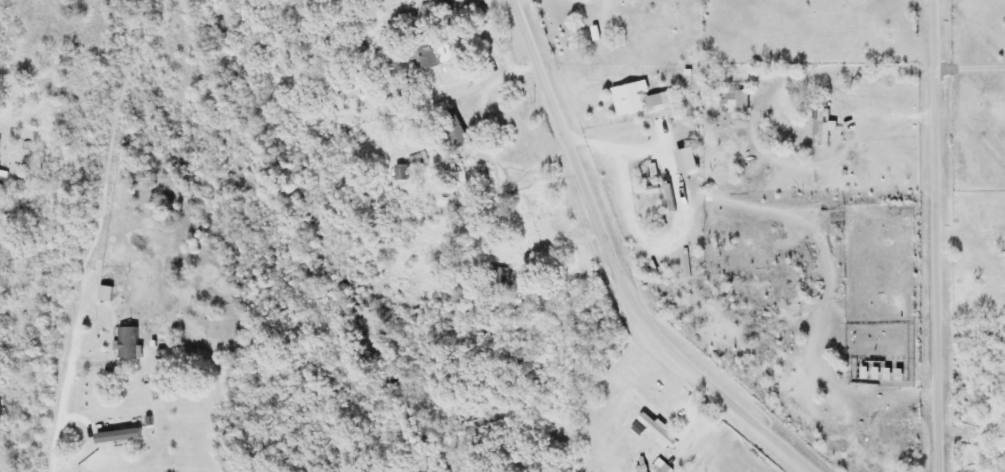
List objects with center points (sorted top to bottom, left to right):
building: (635, 95)
building: (733, 100)
building: (661, 104)
building: (823, 126)
building: (0, 139)
building: (690, 159)
building: (402, 171)
road: (932, 236)
road: (614, 270)
building: (500, 274)
building: (660, 430)

